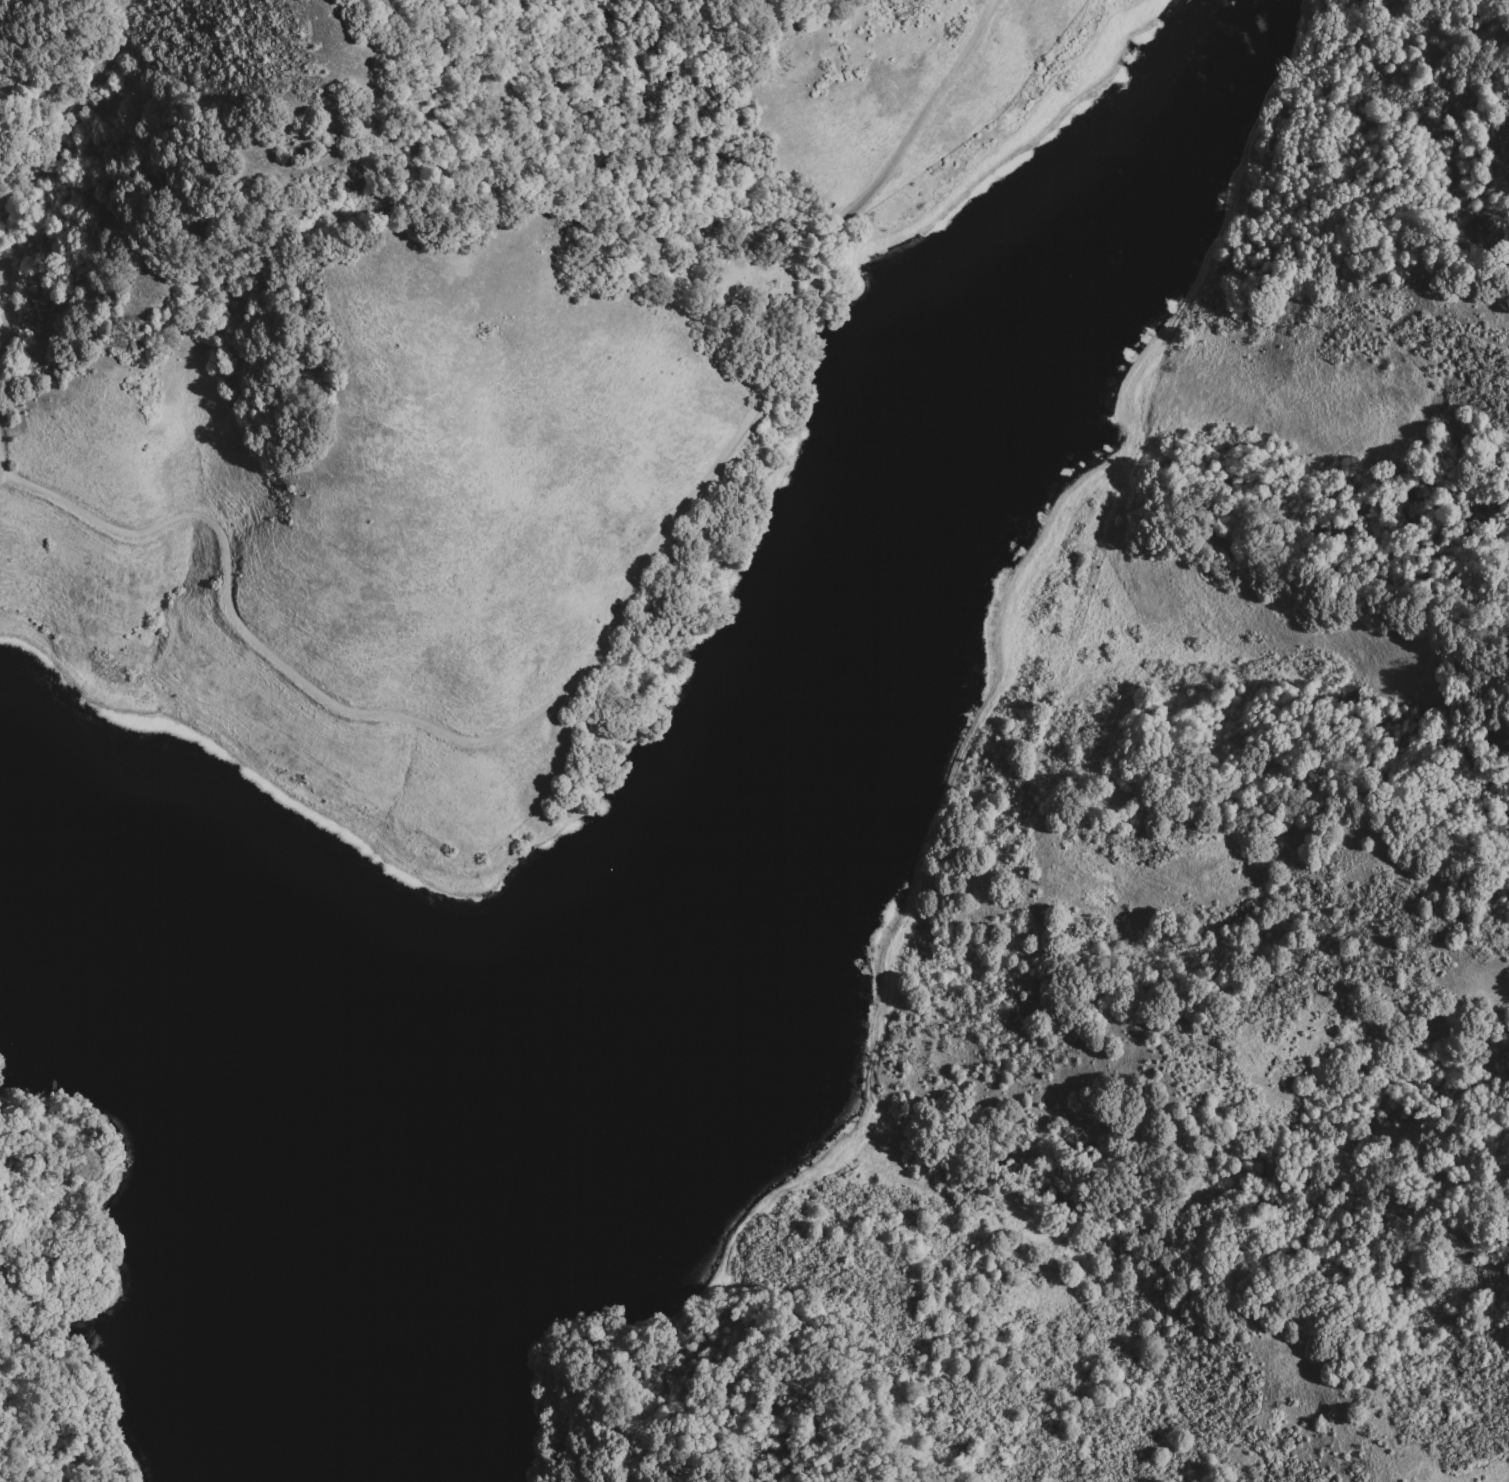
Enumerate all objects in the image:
road: (5, 298)
road: (598, 665)

